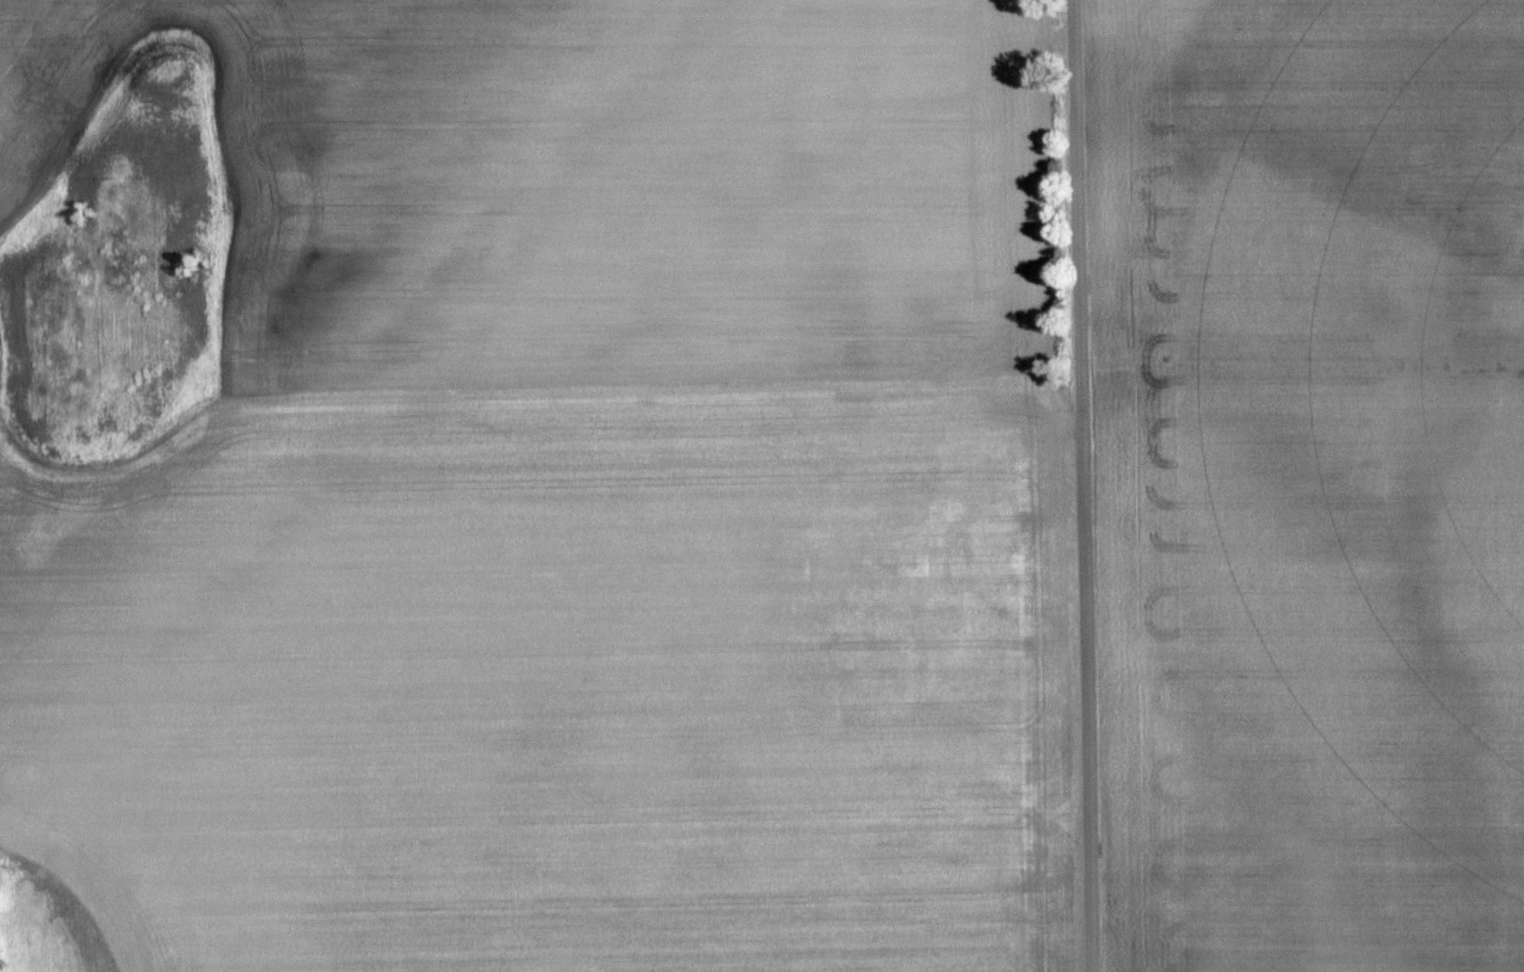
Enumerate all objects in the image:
road: (1077, 486)

